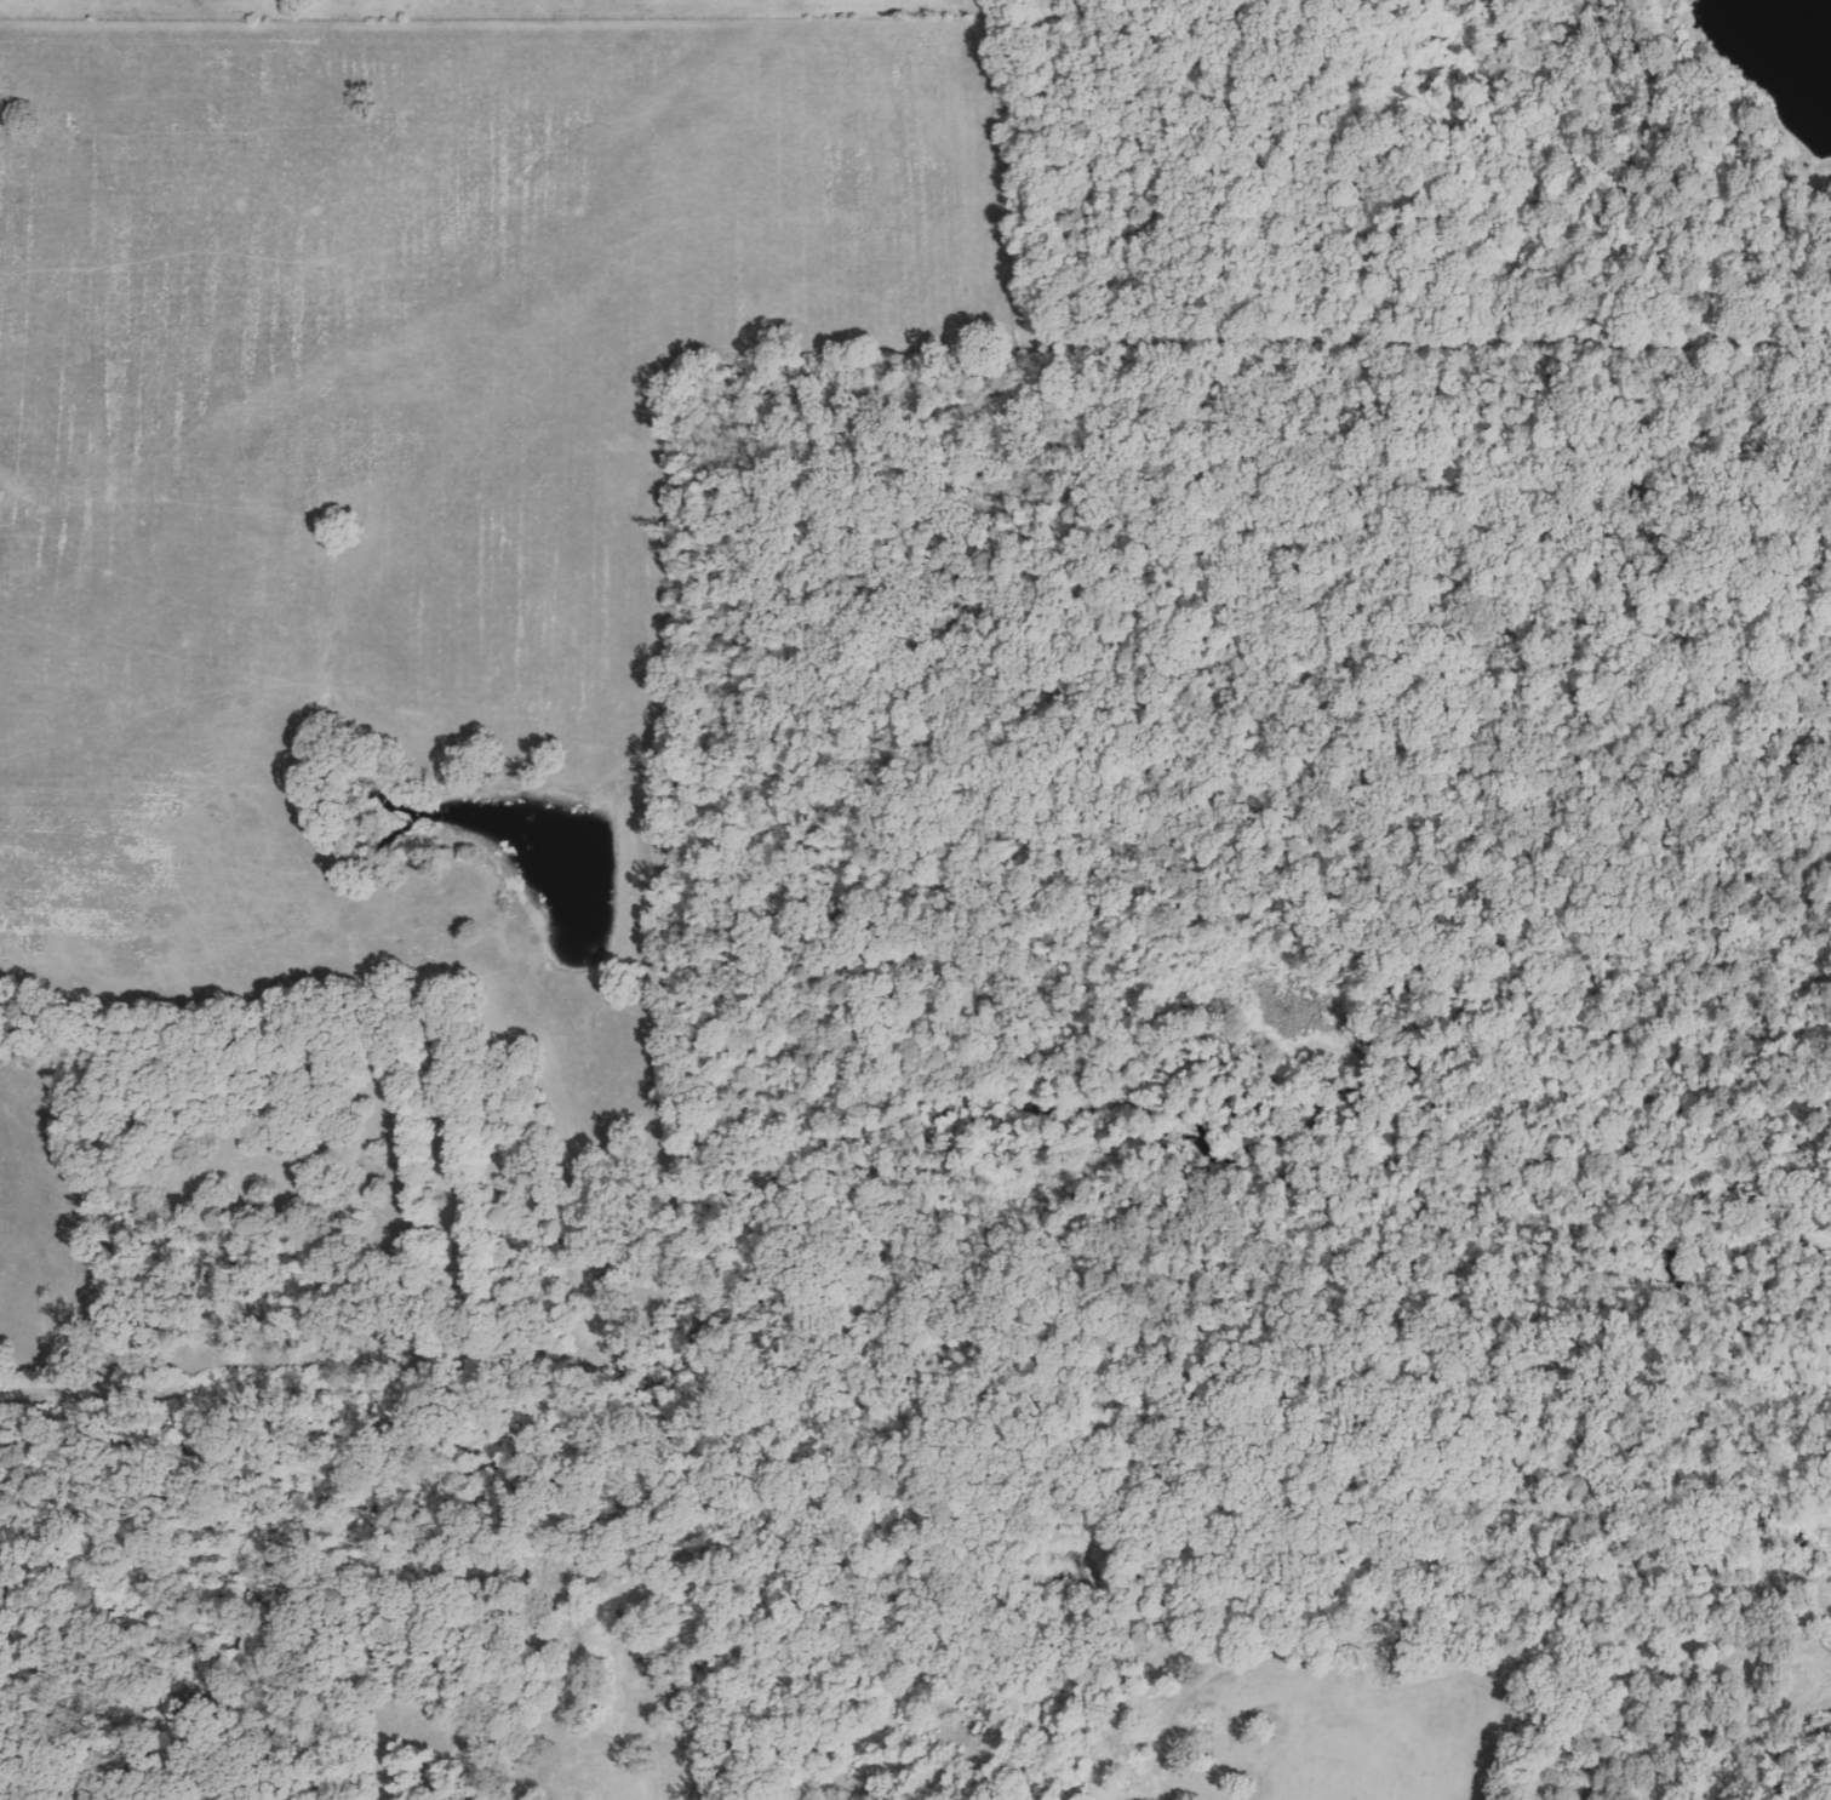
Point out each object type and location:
road: (191, 1375)

